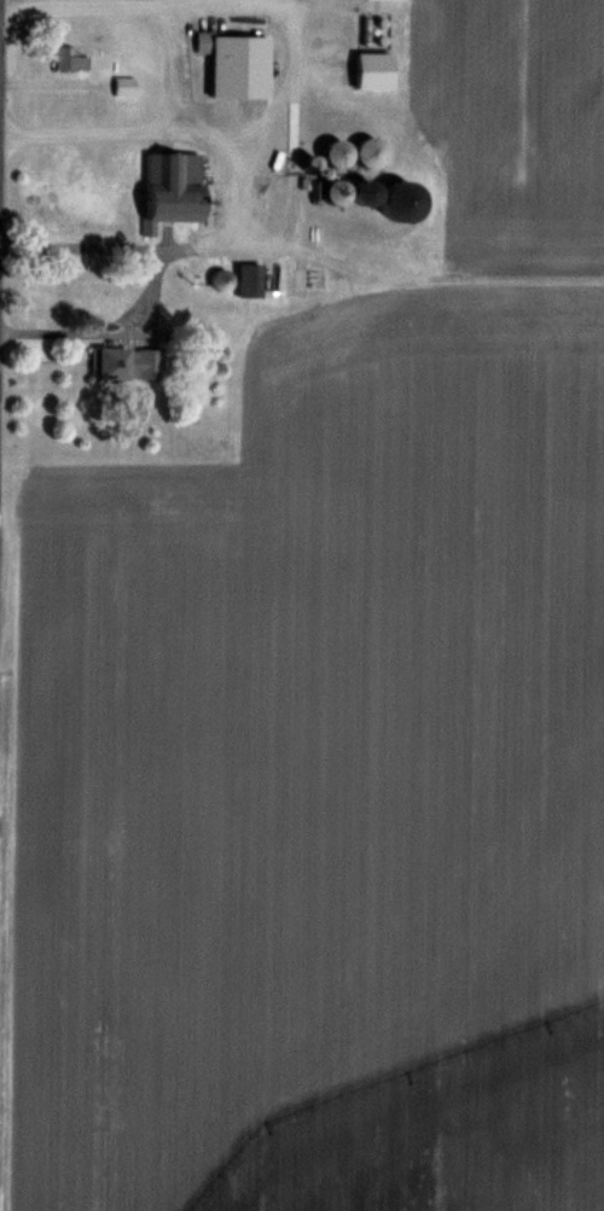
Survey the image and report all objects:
building: (71, 58)
road: (292, 62)
building: (233, 65)
building: (370, 151)
building: (342, 153)
building: (176, 187)
building: (341, 191)
building: (395, 197)
road: (88, 248)
road: (156, 276)
building: (252, 280)
building: (132, 363)

